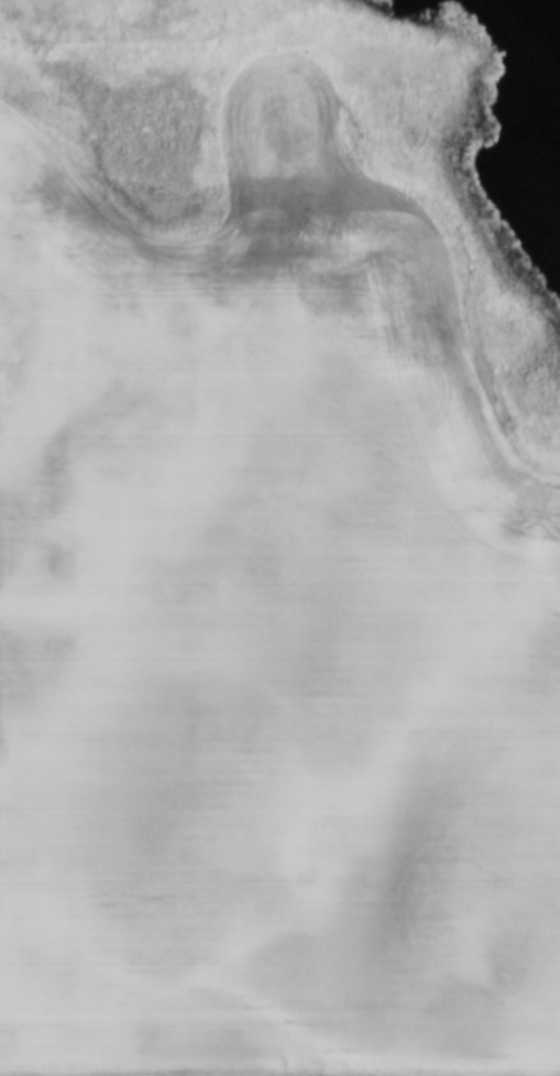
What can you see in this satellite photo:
road: (466, 1074)

